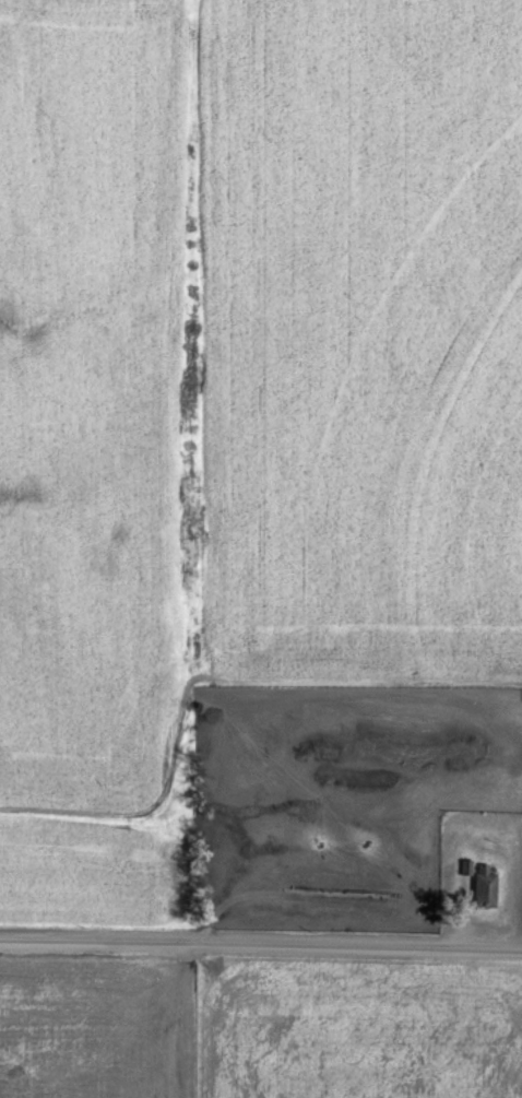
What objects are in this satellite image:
building: (478, 884)
road: (260, 956)

